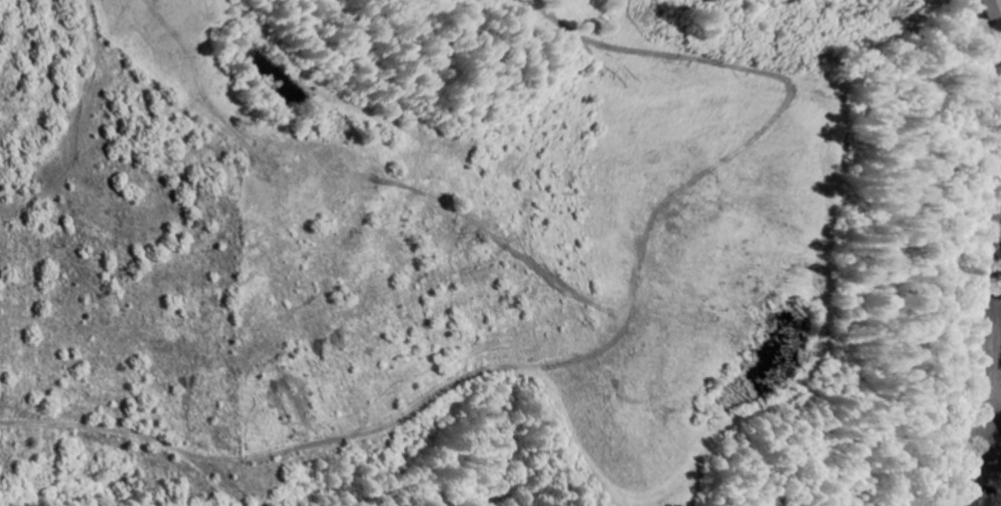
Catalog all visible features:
building: (985, 8)

